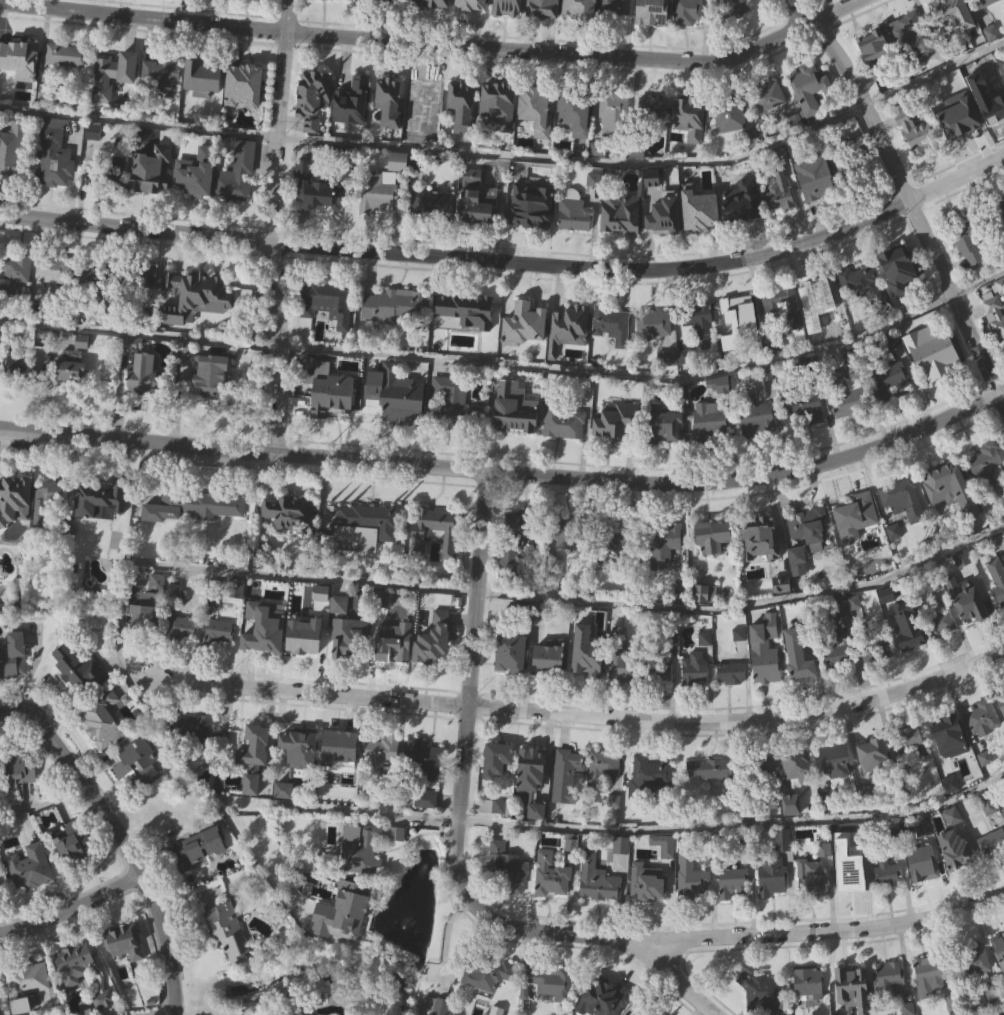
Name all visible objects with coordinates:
building: (50, 0)
building: (807, 0)
building: (78, 1)
building: (368, 1)
building: (401, 1)
building: (121, 3)
building: (433, 3)
building: (630, 3)
building: (831, 3)
building: (986, 3)
building: (469, 4)
building: (174, 5)
building: (507, 6)
building: (216, 8)
building: (541, 8)
building: (612, 8)
building: (580, 9)
building: (731, 9)
building: (255, 10)
building: (686, 12)
building: (651, 13)
building: (951, 14)
building: (327, 17)
building: (989, 20)
building: (615, 27)
building: (732, 32)
building: (910, 38)
building: (950, 38)
building: (689, 40)
road: (438, 43)
building: (873, 51)
building: (15, 54)
building: (66, 55)
building: (993, 62)
building: (909, 64)
building: (159, 72)
building: (876, 73)
building: (110, 74)
building: (199, 80)
building: (69, 85)
building: (21, 88)
building: (810, 88)
building: (348, 89)
building: (422, 93)
building: (130, 96)
building: (229, 96)
building: (767, 96)
building: (311, 98)
building: (496, 100)
road: (881, 100)
building: (164, 101)
building: (993, 102)
building: (387, 103)
building: (106, 106)
building: (203, 107)
building: (613, 107)
building: (459, 108)
building: (650, 109)
building: (534, 110)
building: (686, 111)
building: (573, 112)
building: (246, 114)
building: (729, 114)
building: (810, 118)
building: (958, 121)
building: (425, 123)
building: (770, 127)
building: (315, 128)
building: (391, 130)
building: (353, 131)
building: (992, 132)
building: (463, 135)
building: (500, 135)
building: (916, 135)
building: (653, 137)
building: (538, 139)
building: (614, 142)
road: (351, 145)
building: (576, 145)
building: (10, 146)
building: (731, 146)
building: (691, 147)
building: (959, 149)
building: (796, 150)
building: (51, 157)
building: (843, 157)
road: (730, 161)
building: (396, 162)
building: (917, 162)
building: (753, 166)
building: (194, 174)
building: (237, 174)
building: (102, 175)
building: (147, 179)
building: (11, 180)
building: (56, 186)
building: (315, 186)
building: (818, 186)
building: (400, 191)
building: (779, 193)
building: (375, 195)
road: (906, 196)
building: (120, 199)
building: (154, 199)
building: (474, 200)
building: (197, 203)
building: (240, 203)
building: (430, 203)
building: (817, 207)
building: (737, 210)
building: (573, 212)
building: (618, 213)
building: (529, 216)
building: (663, 217)
building: (318, 219)
building: (781, 220)
building: (379, 222)
road: (273, 227)
building: (433, 232)
building: (477, 235)
building: (534, 235)
building: (966, 235)
building: (741, 236)
building: (1001, 236)
building: (702, 241)
building: (576, 242)
building: (622, 242)
building: (666, 246)
road: (512, 262)
building: (894, 267)
building: (48, 269)
building: (969, 273)
building: (15, 275)
building: (137, 276)
building: (93, 277)
building: (860, 279)
road: (978, 285)
building: (196, 288)
building: (818, 296)
building: (899, 298)
building: (58, 299)
building: (16, 302)
building: (326, 302)
building: (95, 304)
building: (390, 305)
building: (464, 305)
building: (782, 305)
building: (150, 306)
building: (860, 310)
building: (738, 311)
building: (520, 316)
building: (995, 317)
building: (697, 319)
building: (819, 320)
building: (569, 321)
building: (652, 324)
building: (197, 326)
building: (611, 326)
building: (328, 332)
building: (397, 333)
building: (816, 337)
building: (771, 339)
building: (740, 340)
building: (996, 347)
building: (700, 349)
building: (526, 353)
building: (932, 353)
building: (614, 354)
building: (655, 355)
building: (570, 357)
building: (2, 363)
road: (482, 366)
building: (16, 367)
building: (68, 371)
building: (84, 371)
building: (205, 372)
building: (142, 375)
building: (889, 379)
building: (729, 380)
building: (933, 381)
building: (719, 385)
building: (668, 387)
building: (330, 393)
building: (847, 394)
building: (21, 395)
building: (73, 399)
building: (397, 400)
building: (146, 403)
building: (454, 403)
building: (802, 403)
building: (213, 404)
building: (514, 407)
building: (891, 408)
building: (560, 418)
building: (756, 418)
building: (709, 419)
building: (616, 420)
building: (333, 423)
building: (662, 424)
building: (458, 430)
building: (853, 431)
building: (804, 436)
building: (516, 437)
building: (710, 449)
building: (758, 449)
building: (618, 451)
building: (565, 452)
building: (664, 454)
building: (986, 463)
road: (510, 476)
building: (943, 486)
building: (51, 491)
building: (987, 494)
building: (13, 497)
building: (902, 497)
building: (97, 498)
building: (191, 505)
building: (290, 513)
building: (854, 516)
building: (952, 516)
building: (51, 524)
building: (362, 525)
building: (904, 528)
building: (16, 529)
building: (99, 529)
building: (435, 530)
building: (567, 531)
building: (192, 534)
building: (760, 534)
building: (712, 535)
building: (803, 535)
building: (611, 540)
building: (291, 541)
building: (514, 541)
building: (662, 543)
building: (856, 546)
building: (520, 554)
building: (366, 556)
building: (810, 557)
building: (436, 560)
building: (714, 565)
building: (760, 567)
road: (226, 568)
building: (552, 568)
building: (568, 568)
building: (946, 571)
building: (616, 572)
building: (665, 573)
building: (997, 578)
building: (511, 588)
building: (799, 590)
building: (212, 592)
building: (971, 601)
building: (954, 602)
road: (746, 605)
building: (998, 605)
building: (159, 611)
building: (519, 611)
building: (782, 613)
building: (141, 615)
building: (680, 622)
building: (706, 622)
building: (939, 624)
building: (179, 628)
building: (217, 630)
building: (973, 631)
building: (855, 632)
building: (906, 632)
building: (348, 636)
building: (264, 637)
building: (306, 641)
building: (147, 645)
building: (429, 645)
building: (391, 647)
building: (876, 647)
building: (837, 651)
building: (943, 652)
building: (12, 655)
building: (509, 655)
building: (184, 656)
building: (621, 656)
building: (546, 661)
building: (221, 662)
building: (740, 663)
building: (350, 665)
building: (911, 665)
building: (802, 666)
building: (77, 669)
building: (587, 669)
building: (693, 669)
building: (656, 670)
building: (309, 671)
building: (395, 671)
building: (434, 671)
building: (729, 671)
building: (766, 671)
road: (29, 672)
building: (883, 677)
building: (513, 682)
building: (838, 682)
building: (799, 684)
building: (14, 685)
building: (551, 686)
building: (622, 695)
building: (696, 697)
building: (80, 699)
building: (661, 699)
road: (464, 700)
building: (1000, 701)
building: (732, 702)
road: (12, 716)
road: (586, 716)
building: (982, 716)
building: (101, 719)
building: (192, 729)
building: (1001, 730)
building: (907, 738)
building: (298, 740)
building: (249, 745)
building: (949, 745)
building: (337, 746)
building: (105, 749)
building: (381, 749)
building: (984, 749)
building: (874, 753)
building: (833, 756)
building: (193, 757)
building: (531, 757)
building: (423, 759)
building: (495, 759)
building: (134, 762)
building: (759, 765)
building: (797, 765)
building: (600, 767)
building: (16, 768)
building: (711, 768)
building: (915, 769)
building: (302, 775)
building: (565, 775)
building: (341, 776)
building: (647, 777)
building: (383, 781)
building: (874, 783)
building: (255, 785)
building: (499, 788)
building: (837, 790)
building: (0, 791)
building: (137, 793)
building: (606, 793)
building: (22, 797)
building: (424, 798)
building: (533, 798)
building: (711, 798)
road: (41, 801)
building: (828, 801)
building: (569, 804)
building: (651, 804)
building: (494, 806)
road: (335, 808)
building: (285, 819)
road: (732, 823)
building: (427, 828)
building: (616, 830)
building: (501, 836)
building: (538, 840)
building: (859, 841)
building: (67, 843)
building: (992, 844)
building: (665, 846)
building: (366, 848)
building: (195, 849)
road: (264, 851)
building: (957, 851)
road: (127, 852)
building: (920, 864)
building: (30, 868)
building: (505, 869)
building: (785, 869)
building: (572, 871)
building: (993, 873)
building: (622, 874)
building: (665, 874)
building: (887, 874)
building: (367, 875)
building: (549, 875)
building: (771, 877)
building: (197, 878)
building: (690, 878)
building: (811, 878)
building: (956, 878)
building: (596, 879)
building: (850, 879)
building: (731, 882)
building: (647, 887)
building: (923, 892)
building: (510, 895)
building: (31, 896)
building: (852, 899)
building: (888, 902)
building: (552, 903)
building: (773, 906)
building: (812, 906)
building: (693, 907)
building: (599, 908)
building: (649, 911)
building: (733, 912)
road: (73, 914)
building: (1, 917)
building: (226, 931)
building: (122, 941)
building: (345, 941)
road: (446, 941)
road: (743, 942)
building: (998, 942)
building: (230, 960)
building: (971, 961)
building: (127, 970)
building: (929, 970)
building: (486, 972)
building: (80, 973)
building: (846, 976)
building: (999, 977)
building: (887, 979)
building: (550, 980)
building: (807, 981)
road: (677, 983)
building: (23, 985)
building: (977, 987)
building: (76, 991)
building: (761, 993)
building: (951, 995)
building: (140, 996)
building: (601, 996)
building: (933, 1000)
building: (488, 1002)
building: (890, 1003)
building: (30, 1004)
building: (433, 1005)
building: (853, 1005)
building: (551, 1006)
building: (809, 1006)
building: (0, 1009)
building: (647, 1010)
road: (993, 1010)
road: (164, 1014)

